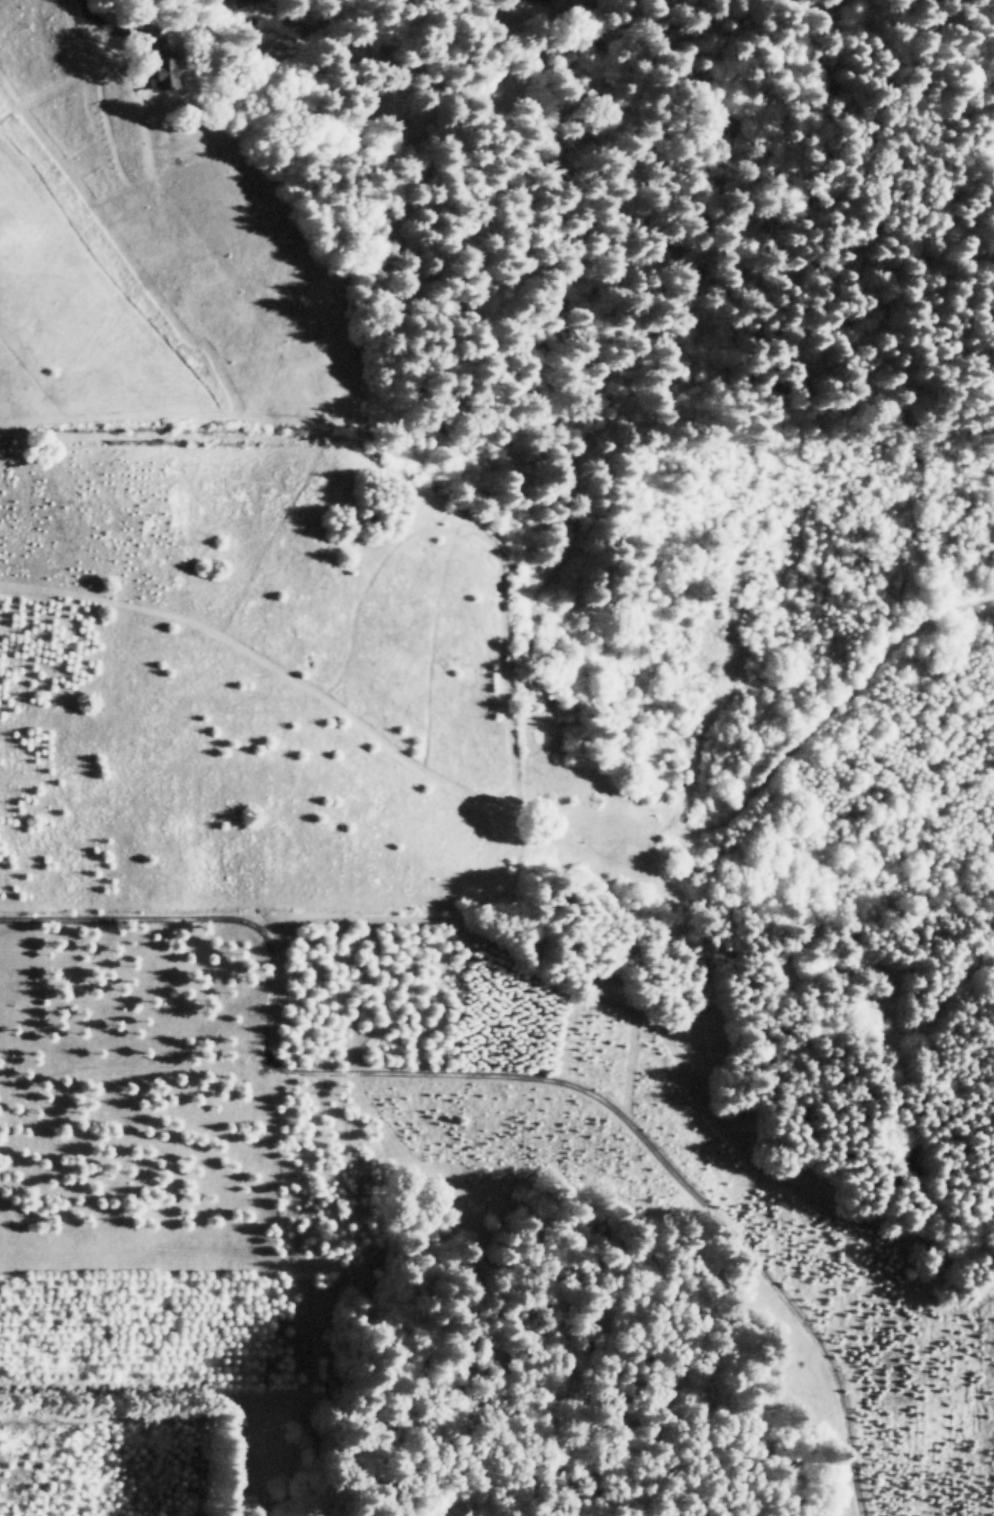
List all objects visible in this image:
building: (239, 2)
road: (113, 28)
building: (159, 70)
crop: (199, 538)
road: (490, 1074)

